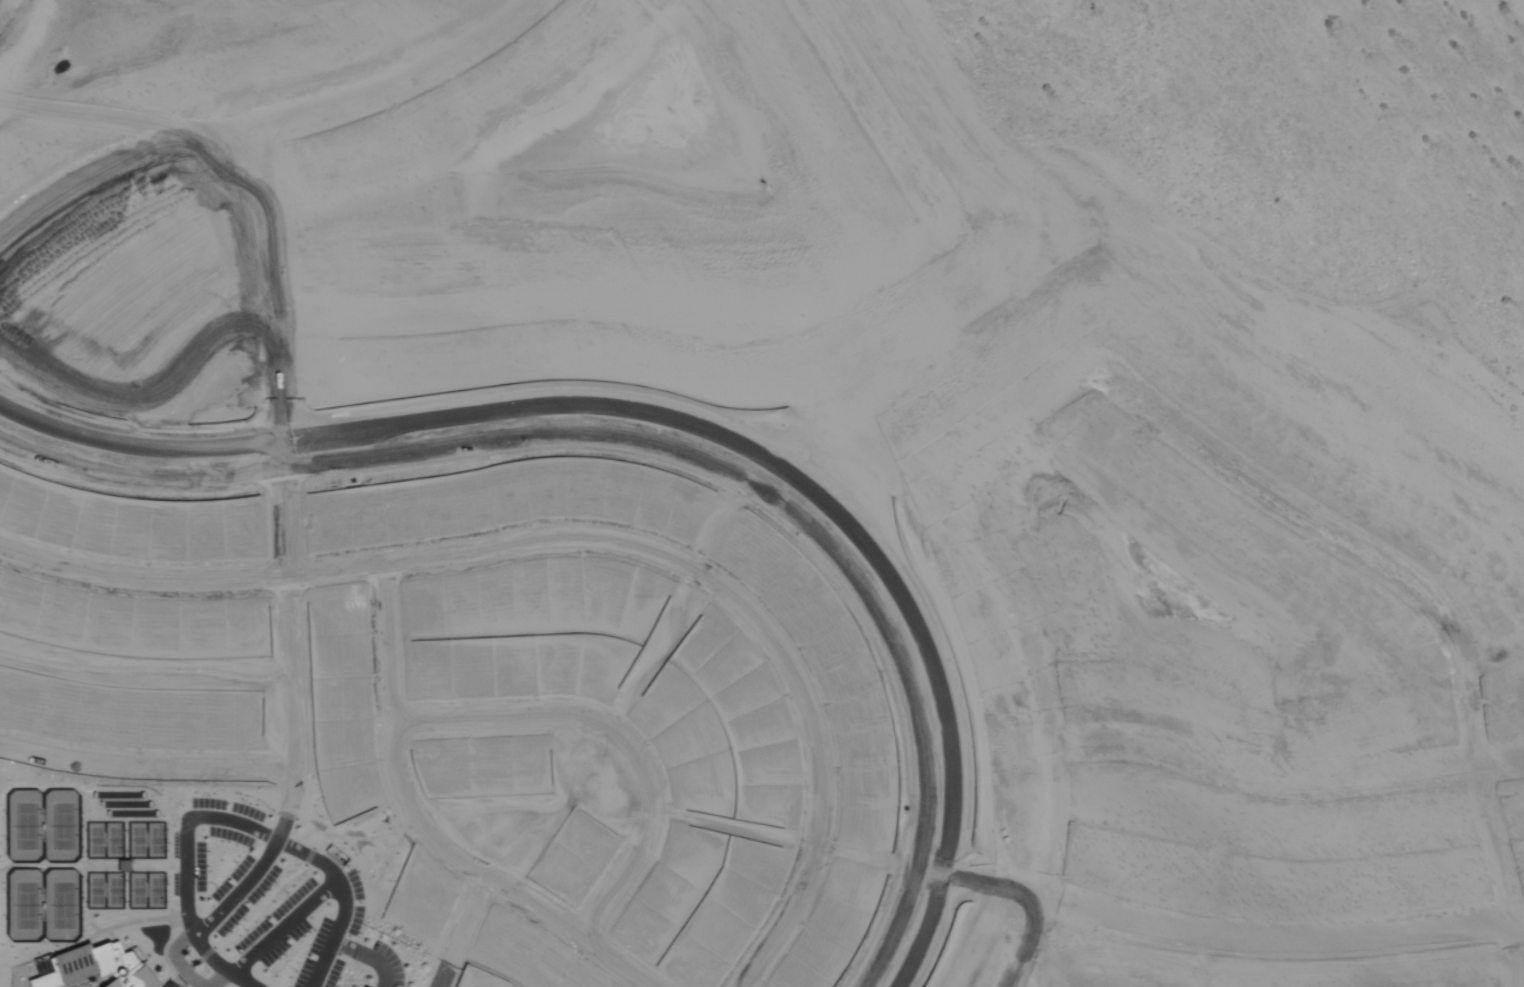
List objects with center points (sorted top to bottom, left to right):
road: (679, 427)
road: (656, 459)
road: (584, 540)
road: (291, 611)
road: (615, 740)
road: (147, 765)
road: (289, 807)
road: (433, 836)
road: (184, 868)
road: (336, 880)
road: (238, 894)
road: (282, 926)
road: (464, 933)
road: (367, 958)
road: (173, 961)
road: (323, 965)
road: (217, 981)

